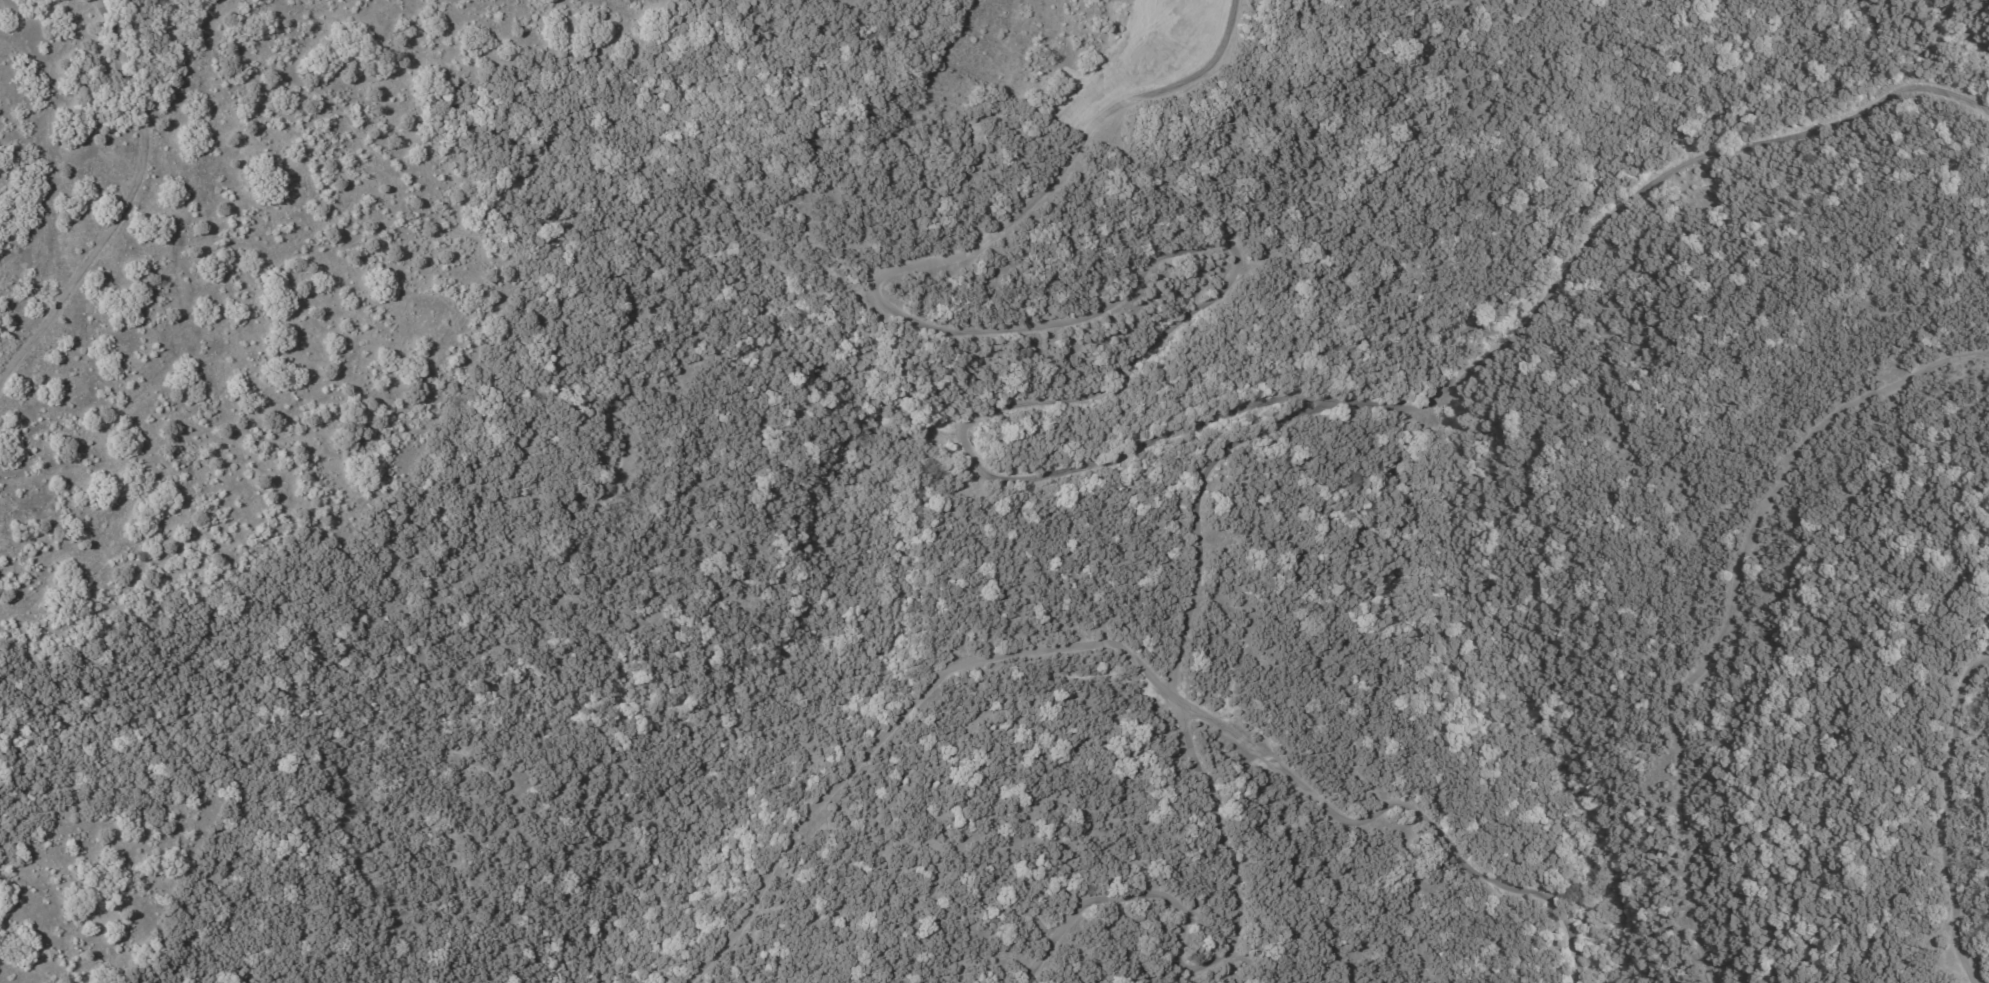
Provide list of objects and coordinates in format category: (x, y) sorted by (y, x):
park: (1423, 143)
road: (127, 209)

